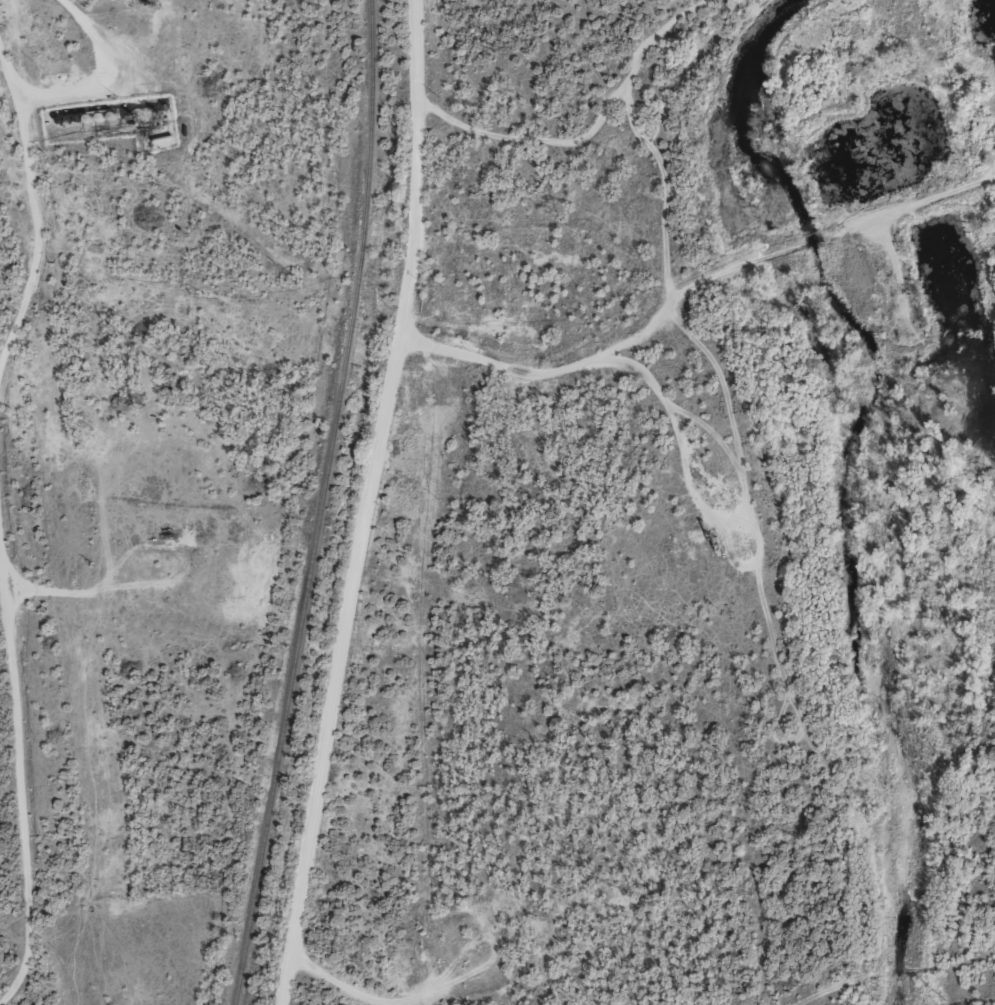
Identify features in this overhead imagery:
road: (102, 75)
road: (26, 134)
road: (635, 134)
road: (531, 137)
road: (410, 173)
road: (693, 287)
road: (24, 293)
railway: (317, 504)
road: (364, 678)
road: (9, 803)

